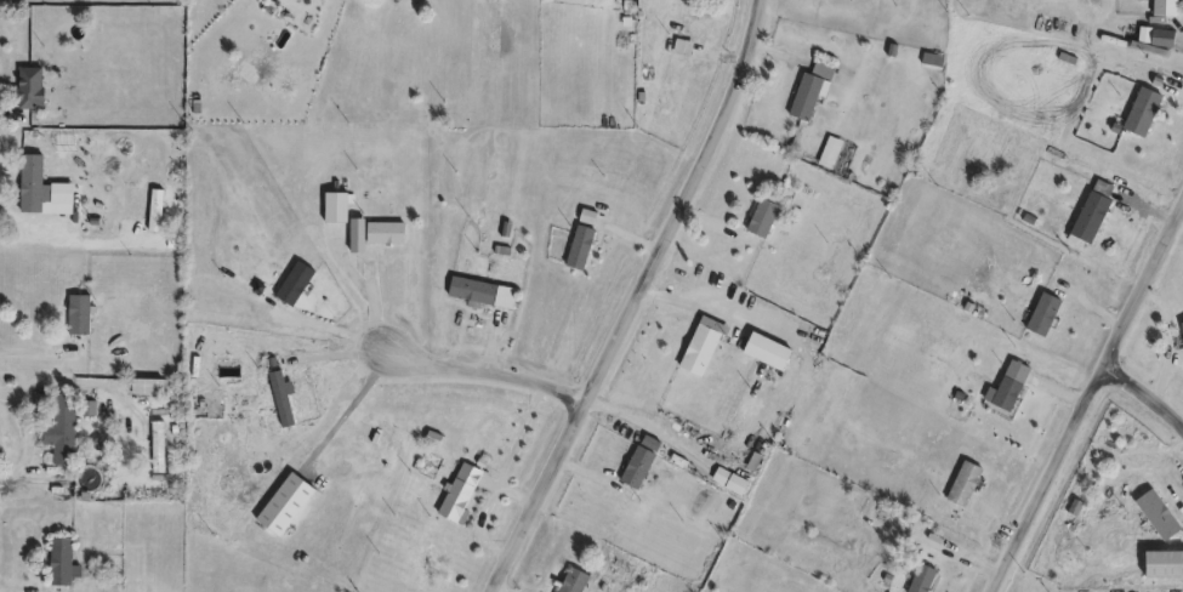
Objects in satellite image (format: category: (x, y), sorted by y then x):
building: (323, 0)
building: (1168, 8)
building: (34, 89)
building: (813, 93)
building: (1147, 113)
building: (36, 187)
building: (341, 209)
building: (767, 216)
building: (1093, 218)
building: (388, 234)
building: (582, 249)
building: (298, 286)
building: (474, 292)
road: (638, 300)
building: (81, 317)
building: (1046, 317)
road: (34, 348)
building: (703, 352)
building: (772, 353)
road: (483, 372)
building: (158, 388)
road: (24, 391)
building: (1013, 391)
road: (1147, 398)
road: (1088, 403)
building: (64, 431)
building: (160, 449)
building: (639, 469)
road: (587, 474)
building: (967, 486)
building: (462, 494)
building: (1160, 517)
road: (1005, 524)
road: (966, 554)
building: (64, 563)
building: (925, 580)
building: (576, 581)

